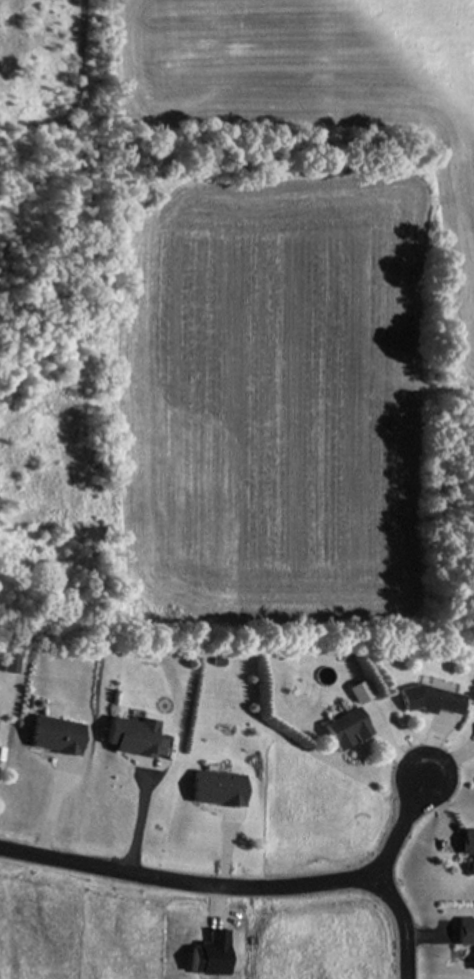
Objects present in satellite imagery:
building: (432, 701)
building: (346, 731)
building: (56, 737)
building: (135, 738)
building: (219, 790)
road: (400, 833)
building: (468, 849)
road: (237, 889)
building: (466, 933)

